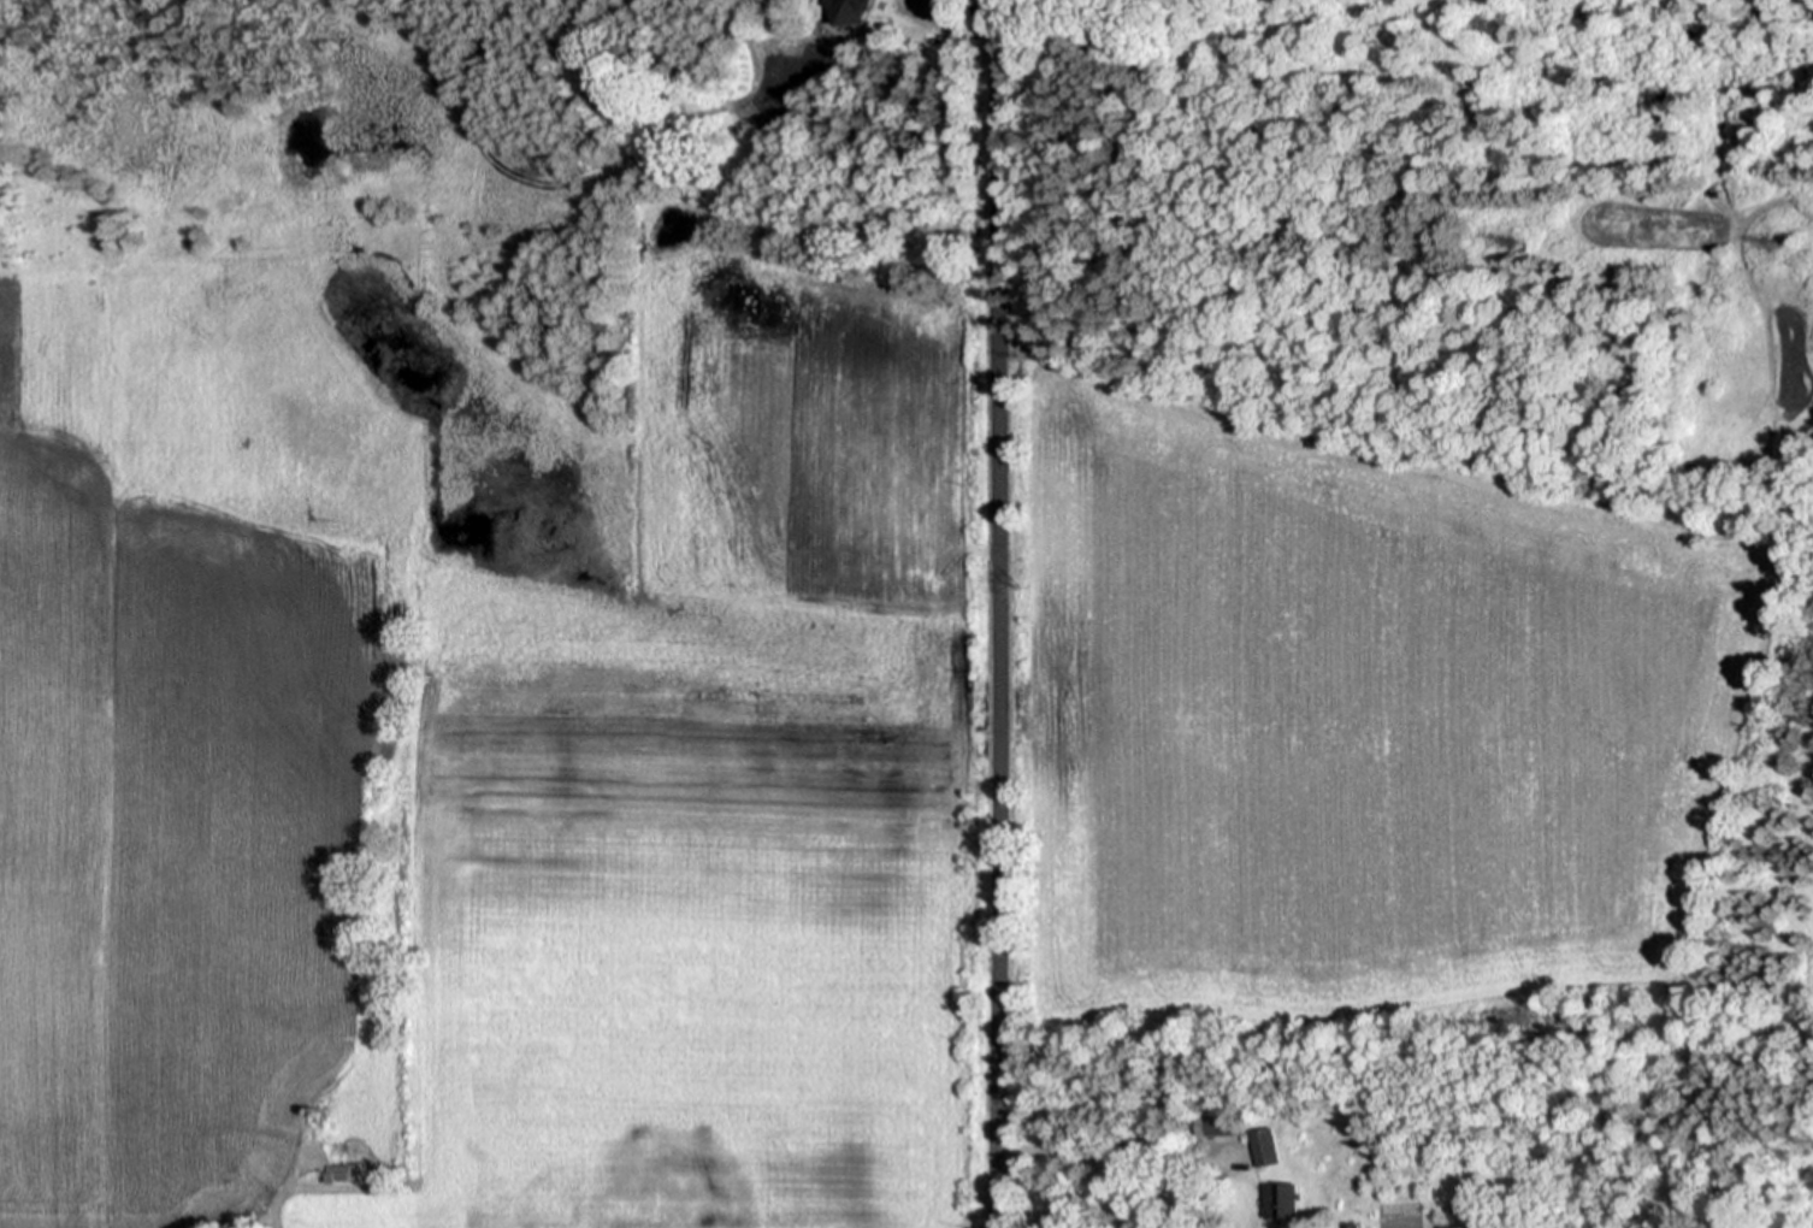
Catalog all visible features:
building: (858, 10)
road: (964, 22)
road: (998, 614)
building: (1226, 1126)
building: (356, 1141)
building: (1272, 1146)
road: (1082, 1155)
building: (1288, 1200)

